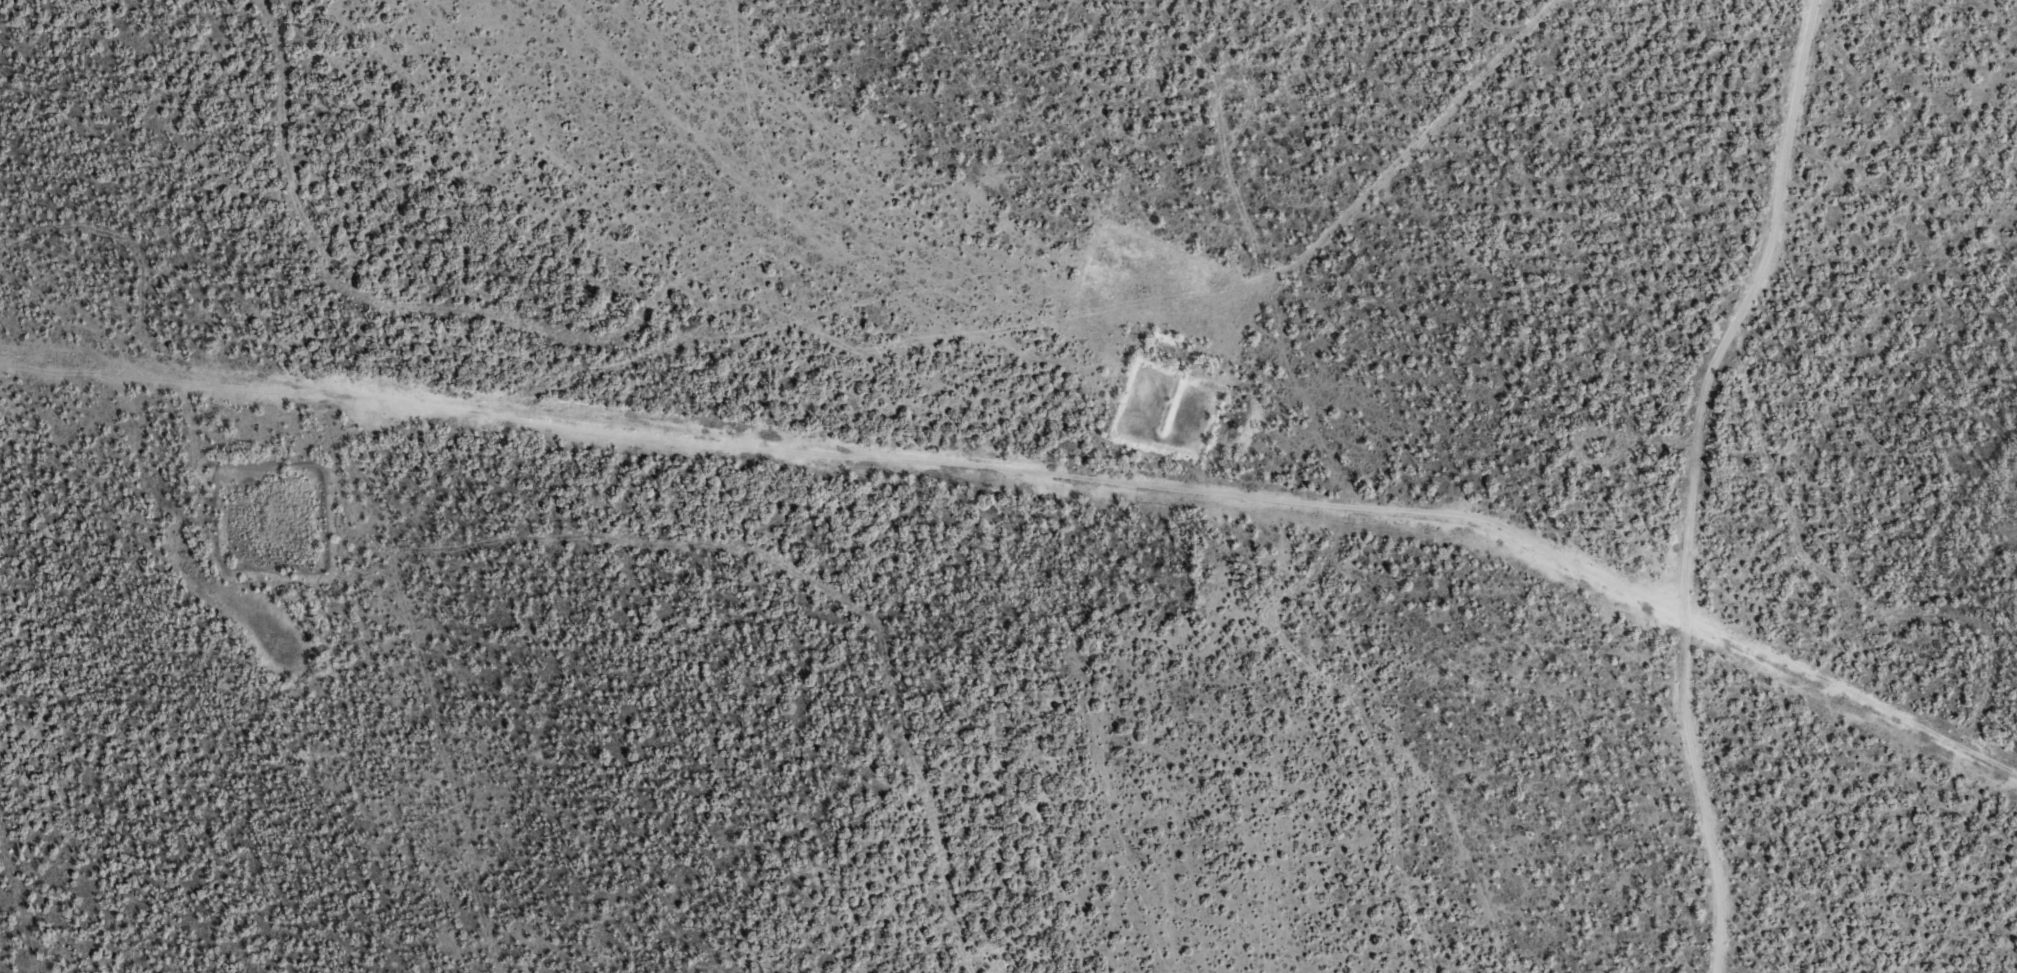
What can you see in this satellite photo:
road: (1753, 482)

